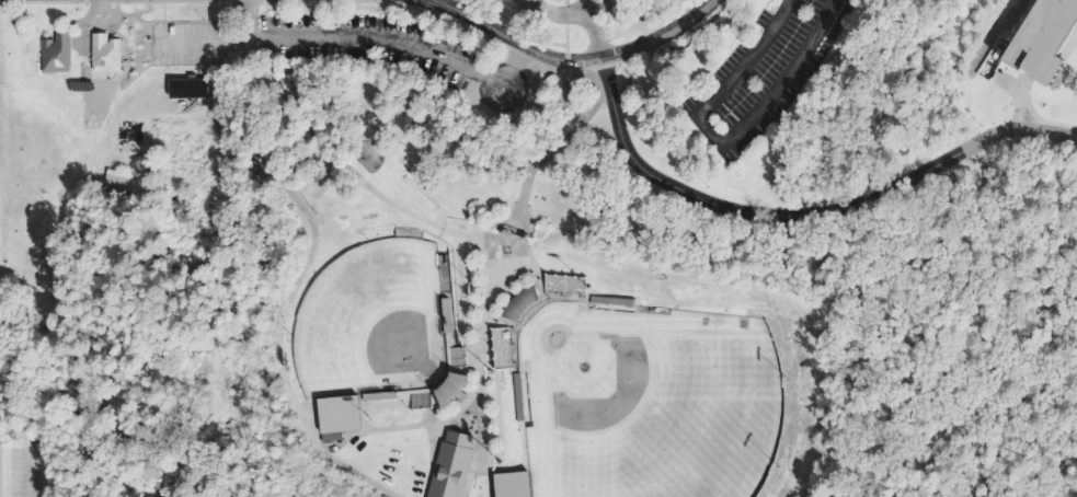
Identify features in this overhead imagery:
road: (439, 5)
road: (587, 5)
road: (450, 7)
road: (564, 15)
road: (80, 25)
road: (563, 34)
road: (594, 34)
road: (358, 38)
building: (1044, 38)
parking lot: (317, 44)
road: (1068, 44)
road: (667, 47)
building: (102, 53)
building: (54, 54)
road: (587, 59)
road: (563, 60)
parking lot: (763, 73)
road: (589, 77)
building: (186, 89)
road: (608, 100)
building: (174, 131)
road: (718, 145)
building: (182, 169)
building: (119, 183)
road: (802, 215)
road: (497, 267)
building: (562, 284)
road: (291, 285)
building: (609, 301)
park: (369, 321)
building: (499, 347)
building: (381, 397)
building: (516, 397)
park: (644, 402)
building: (336, 416)
road: (420, 426)
road: (431, 461)
building: (449, 465)
parking lot: (26, 471)
road: (27, 471)
building: (508, 484)

